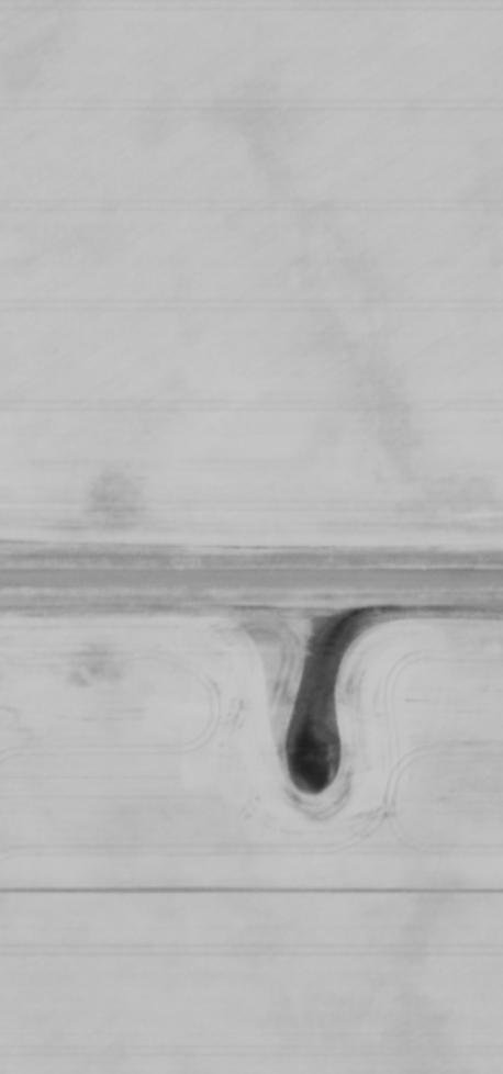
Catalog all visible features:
road: (250, 577)

